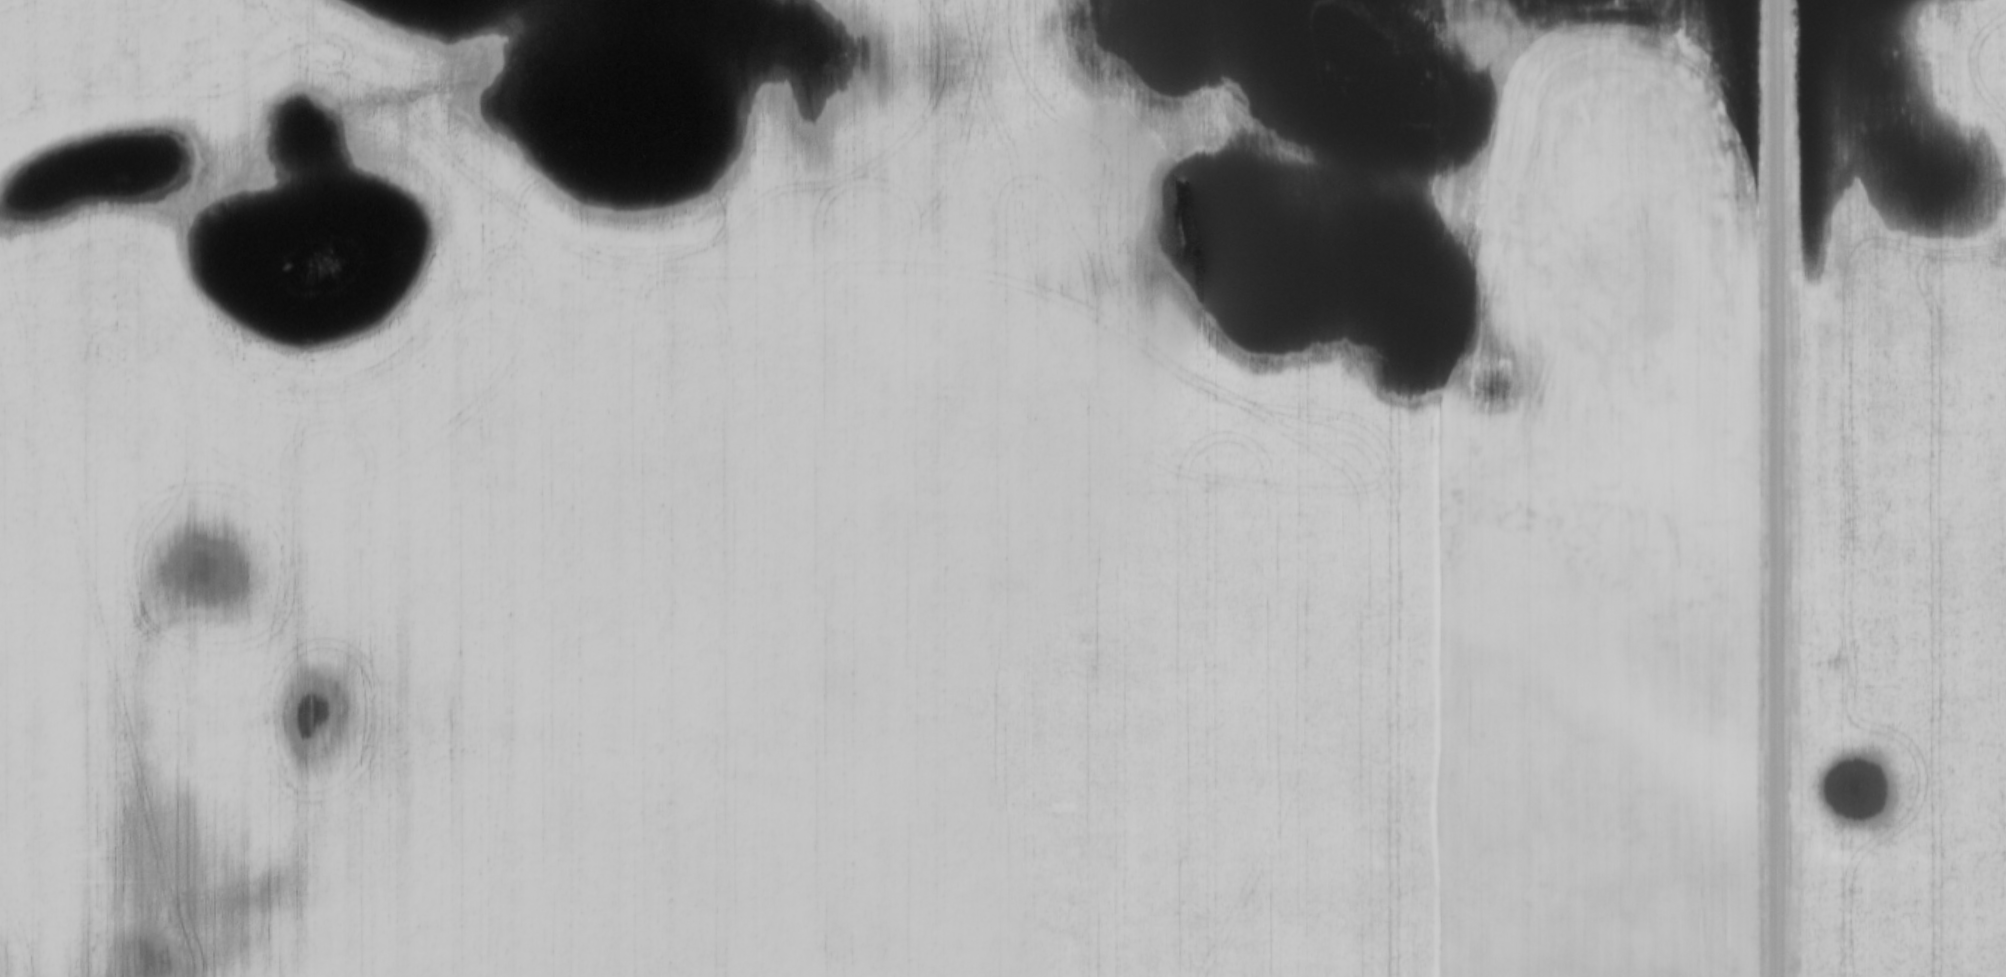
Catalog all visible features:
road: (1775, 488)

